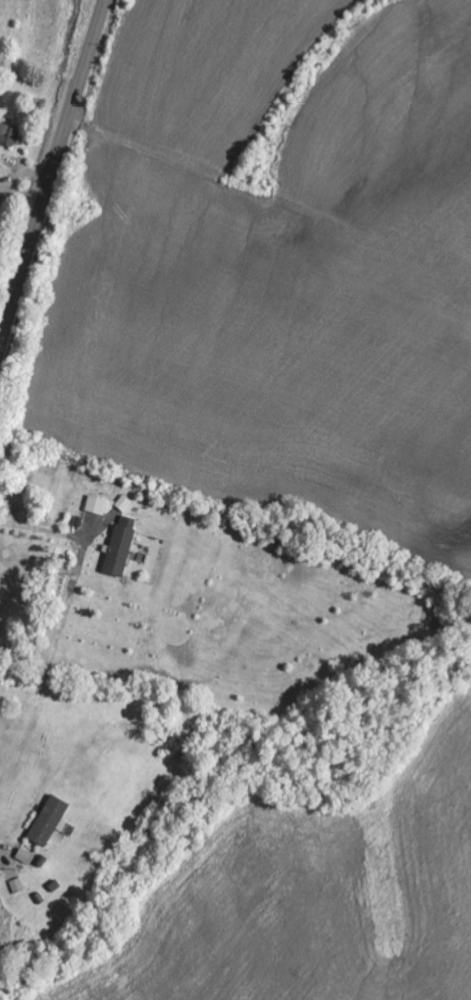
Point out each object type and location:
building: (9, 135)
road: (52, 172)
building: (125, 503)
building: (97, 505)
building: (121, 545)
building: (50, 821)
building: (25, 856)
building: (17, 885)

